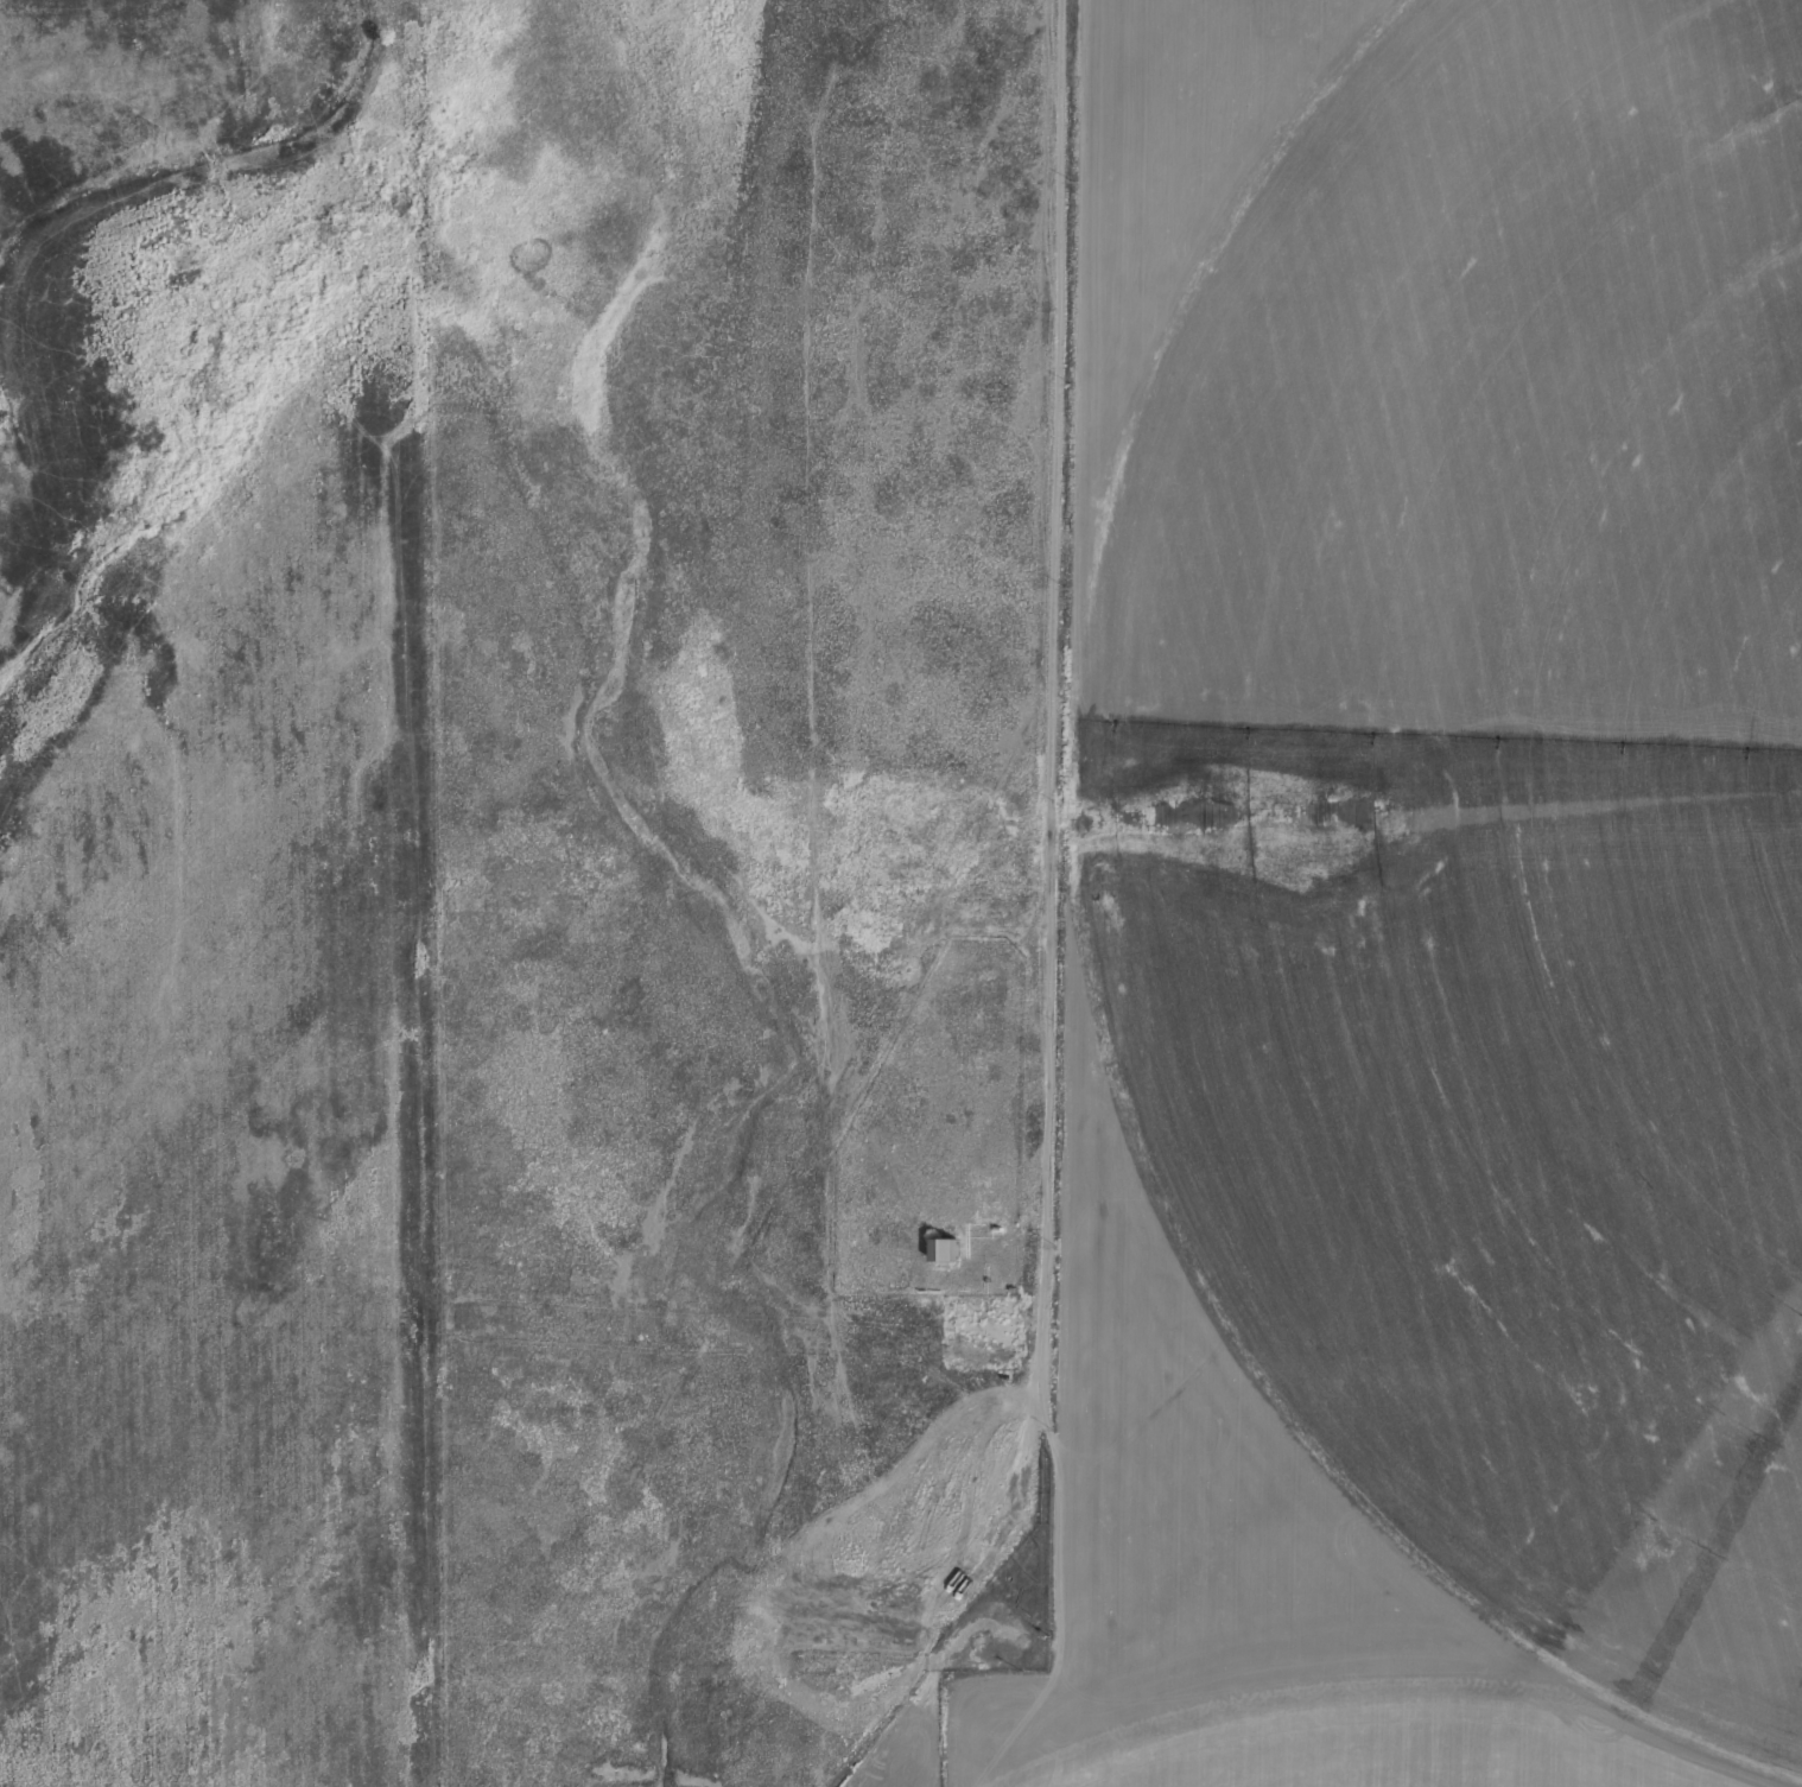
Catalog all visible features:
building: (948, 1248)
building: (973, 1683)

